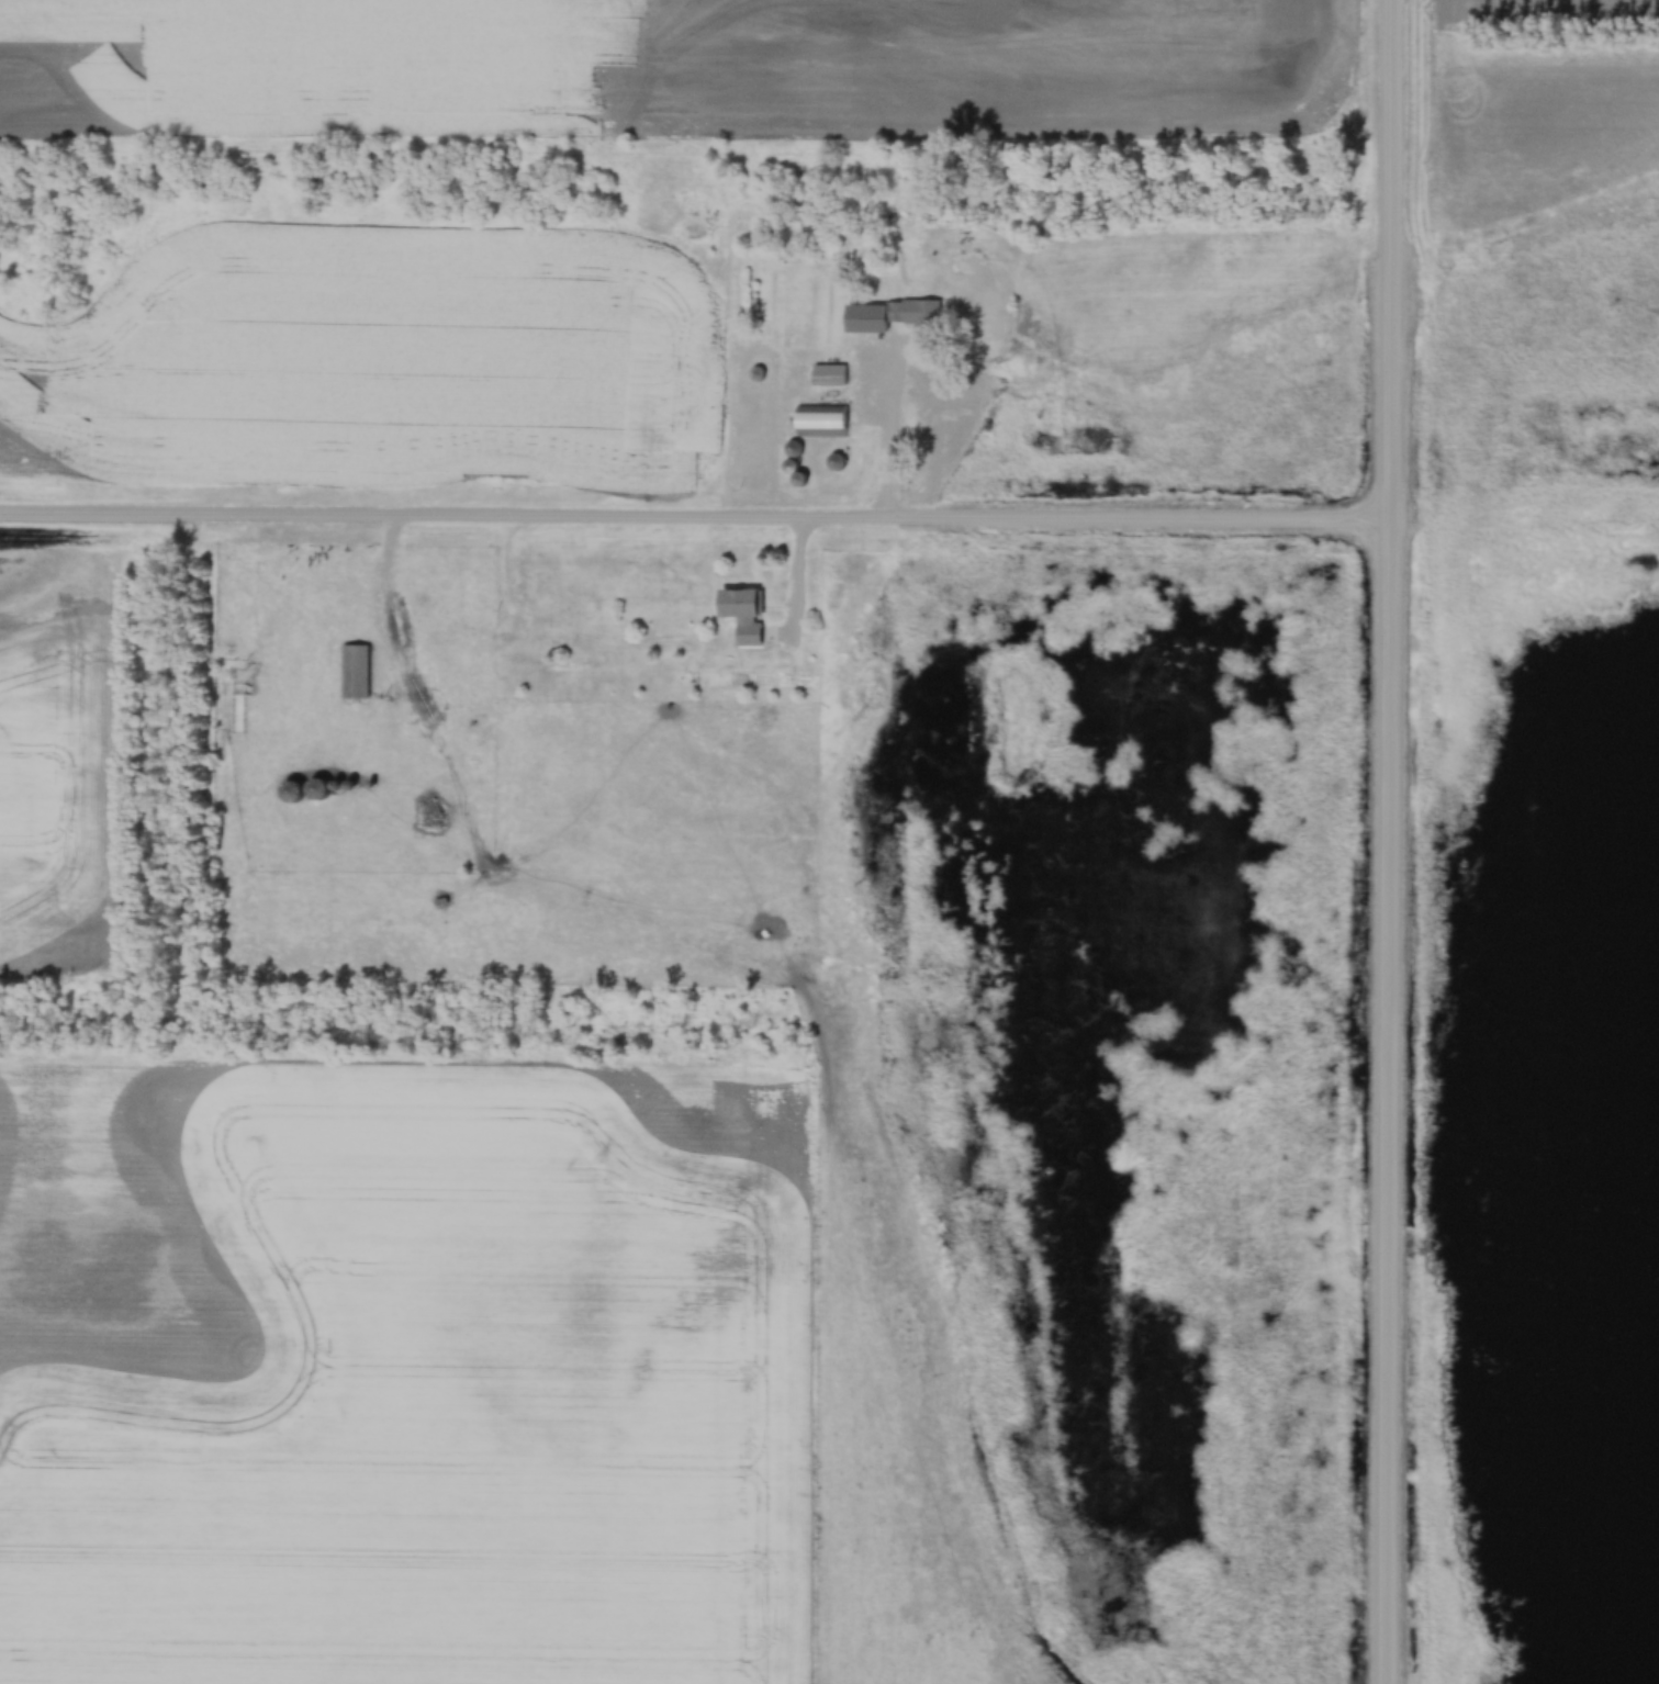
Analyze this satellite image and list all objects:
building: (911, 310)
building: (827, 372)
building: (819, 418)
road: (694, 520)
building: (741, 611)
building: (354, 667)
building: (316, 786)
building: (290, 788)
road: (1389, 842)

